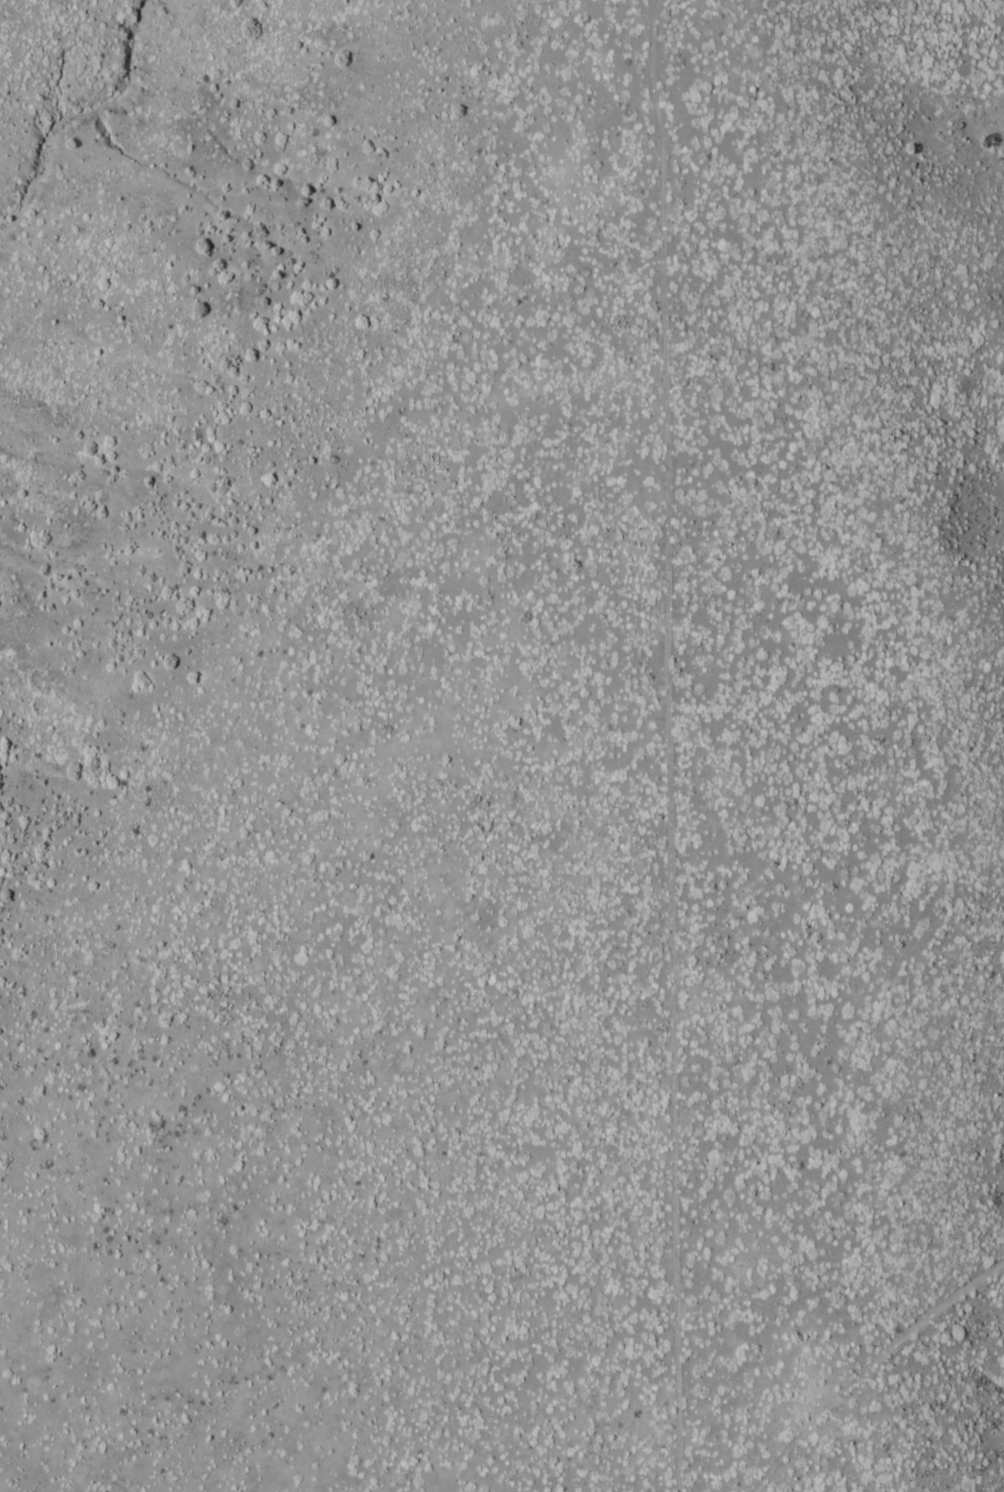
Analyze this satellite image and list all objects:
road: (669, 745)

